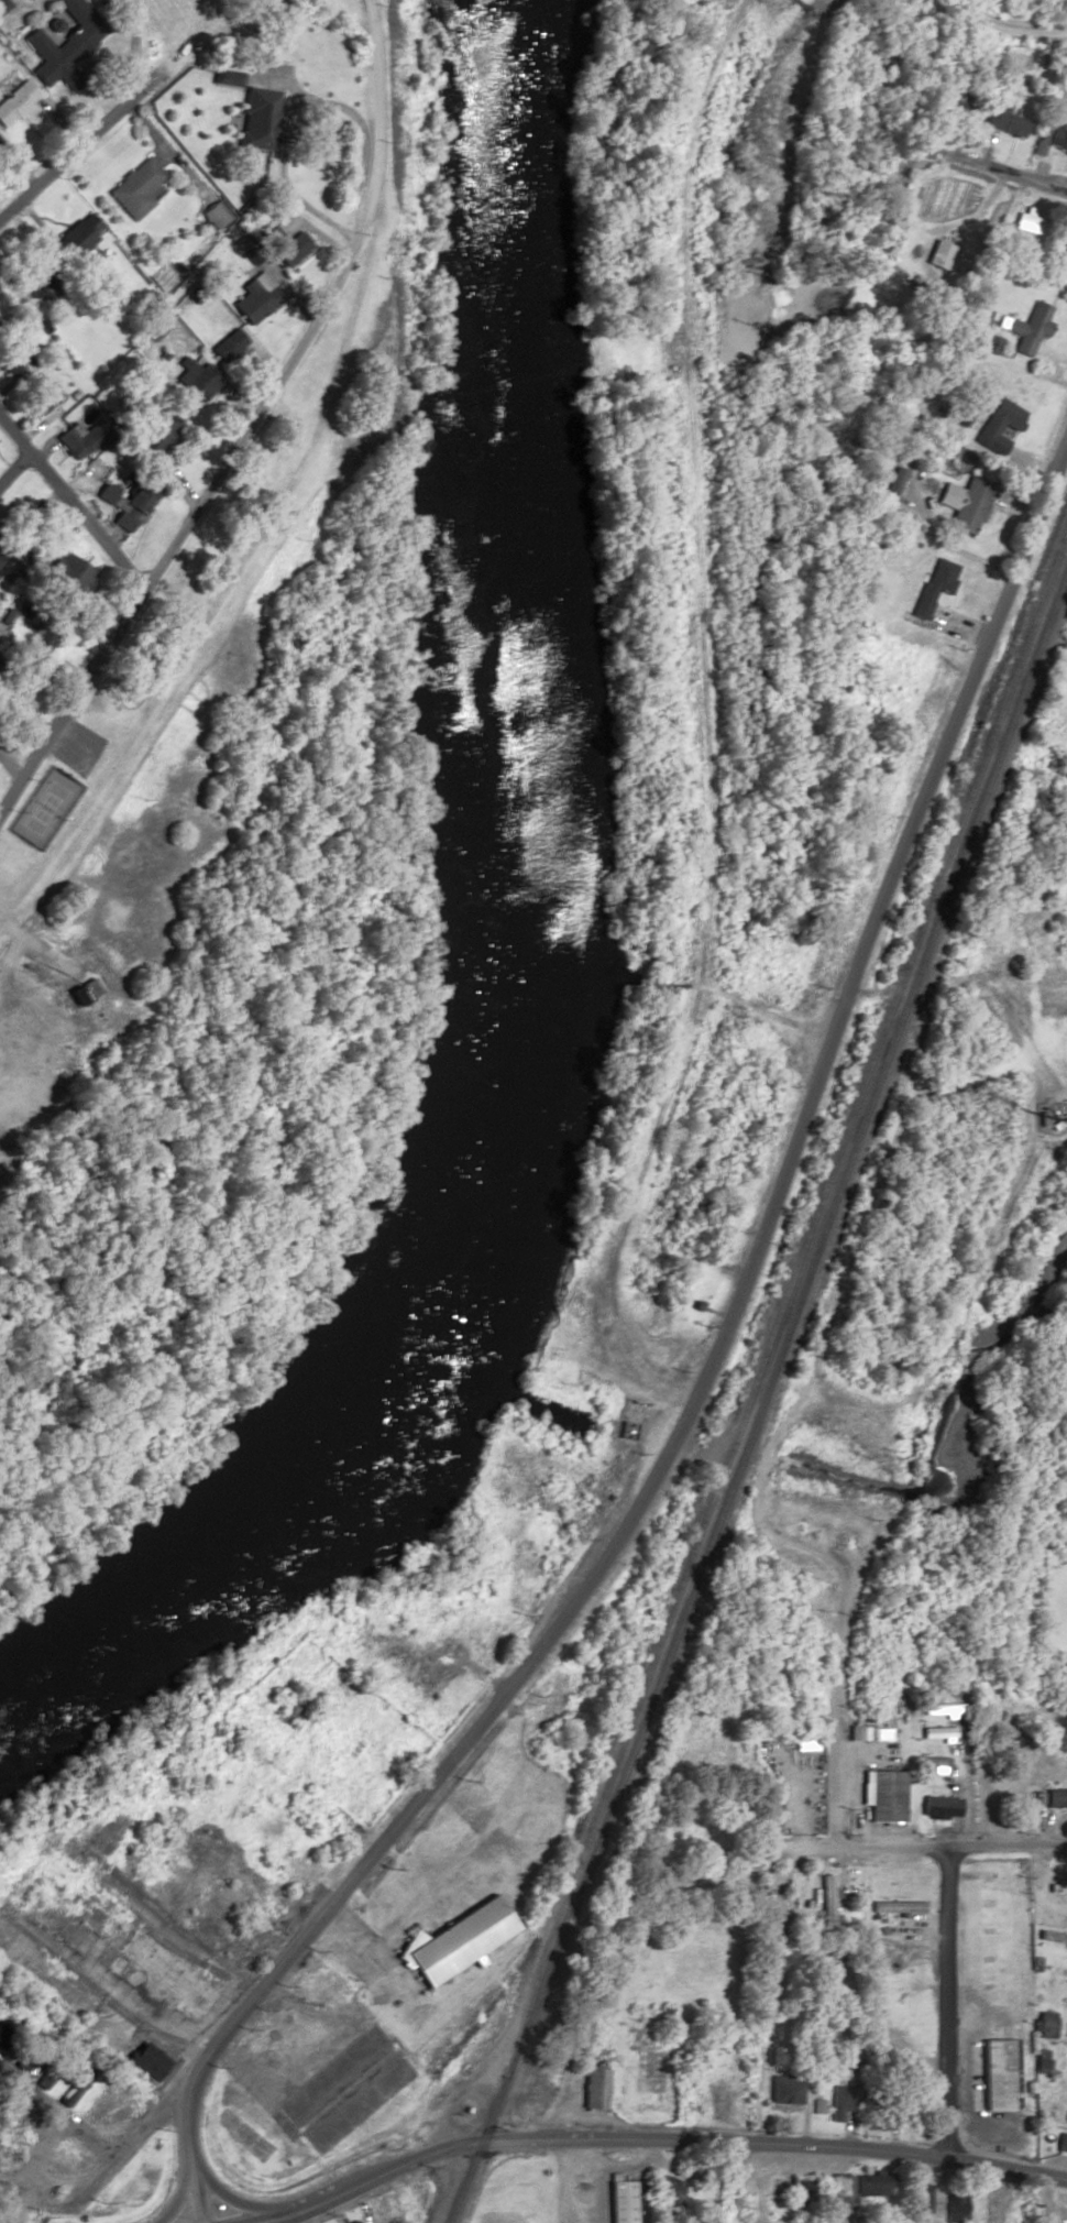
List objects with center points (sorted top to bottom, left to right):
building: (2, 6)
building: (74, 10)
road: (992, 28)
building: (50, 57)
road: (366, 92)
building: (15, 102)
building: (954, 103)
building: (1003, 120)
building: (1050, 138)
building: (255, 144)
road: (62, 149)
building: (134, 189)
building: (210, 216)
building: (1031, 225)
road: (972, 227)
building: (79, 236)
building: (286, 248)
building: (938, 254)
building: (246, 300)
building: (1030, 328)
road: (125, 333)
building: (193, 377)
road: (266, 394)
building: (1002, 419)
building: (152, 431)
road: (12, 464)
building: (893, 484)
building: (123, 502)
road: (68, 505)
building: (970, 507)
building: (69, 574)
road: (235, 583)
building: (935, 585)
road: (878, 625)
building: (38, 640)
road: (68, 701)
railway: (1004, 734)
parking lot: (77, 746)
park: (43, 806)
river: (513, 946)
road: (31, 948)
building: (88, 987)
road: (847, 995)
railway: (785, 1300)
railway: (698, 1567)
road: (400, 1655)
road: (835, 1715)
building: (856, 1733)
building: (886, 1796)
building: (1055, 1798)
building: (939, 1808)
building: (703, 1847)
road: (716, 1868)
road: (359, 1869)
building: (994, 1885)
building: (1059, 1888)
building: (828, 1899)
building: (898, 1906)
building: (457, 1938)
building: (163, 1971)
road: (942, 2003)
road: (136, 2010)
building: (144, 2061)
building: (46, 2072)
building: (997, 2073)
building: (594, 2089)
building: (784, 2092)
building: (66, 2094)
building: (838, 2103)
building: (96, 2104)
road: (54, 2114)
building: (112, 2122)
road: (128, 2139)
road: (495, 2142)
building: (1061, 2143)
road: (906, 2154)
building: (873, 2188)
road: (32, 2194)
building: (839, 2194)
road: (180, 2195)
building: (924, 2199)
road: (238, 2201)
building: (619, 2201)
building: (381, 2216)

